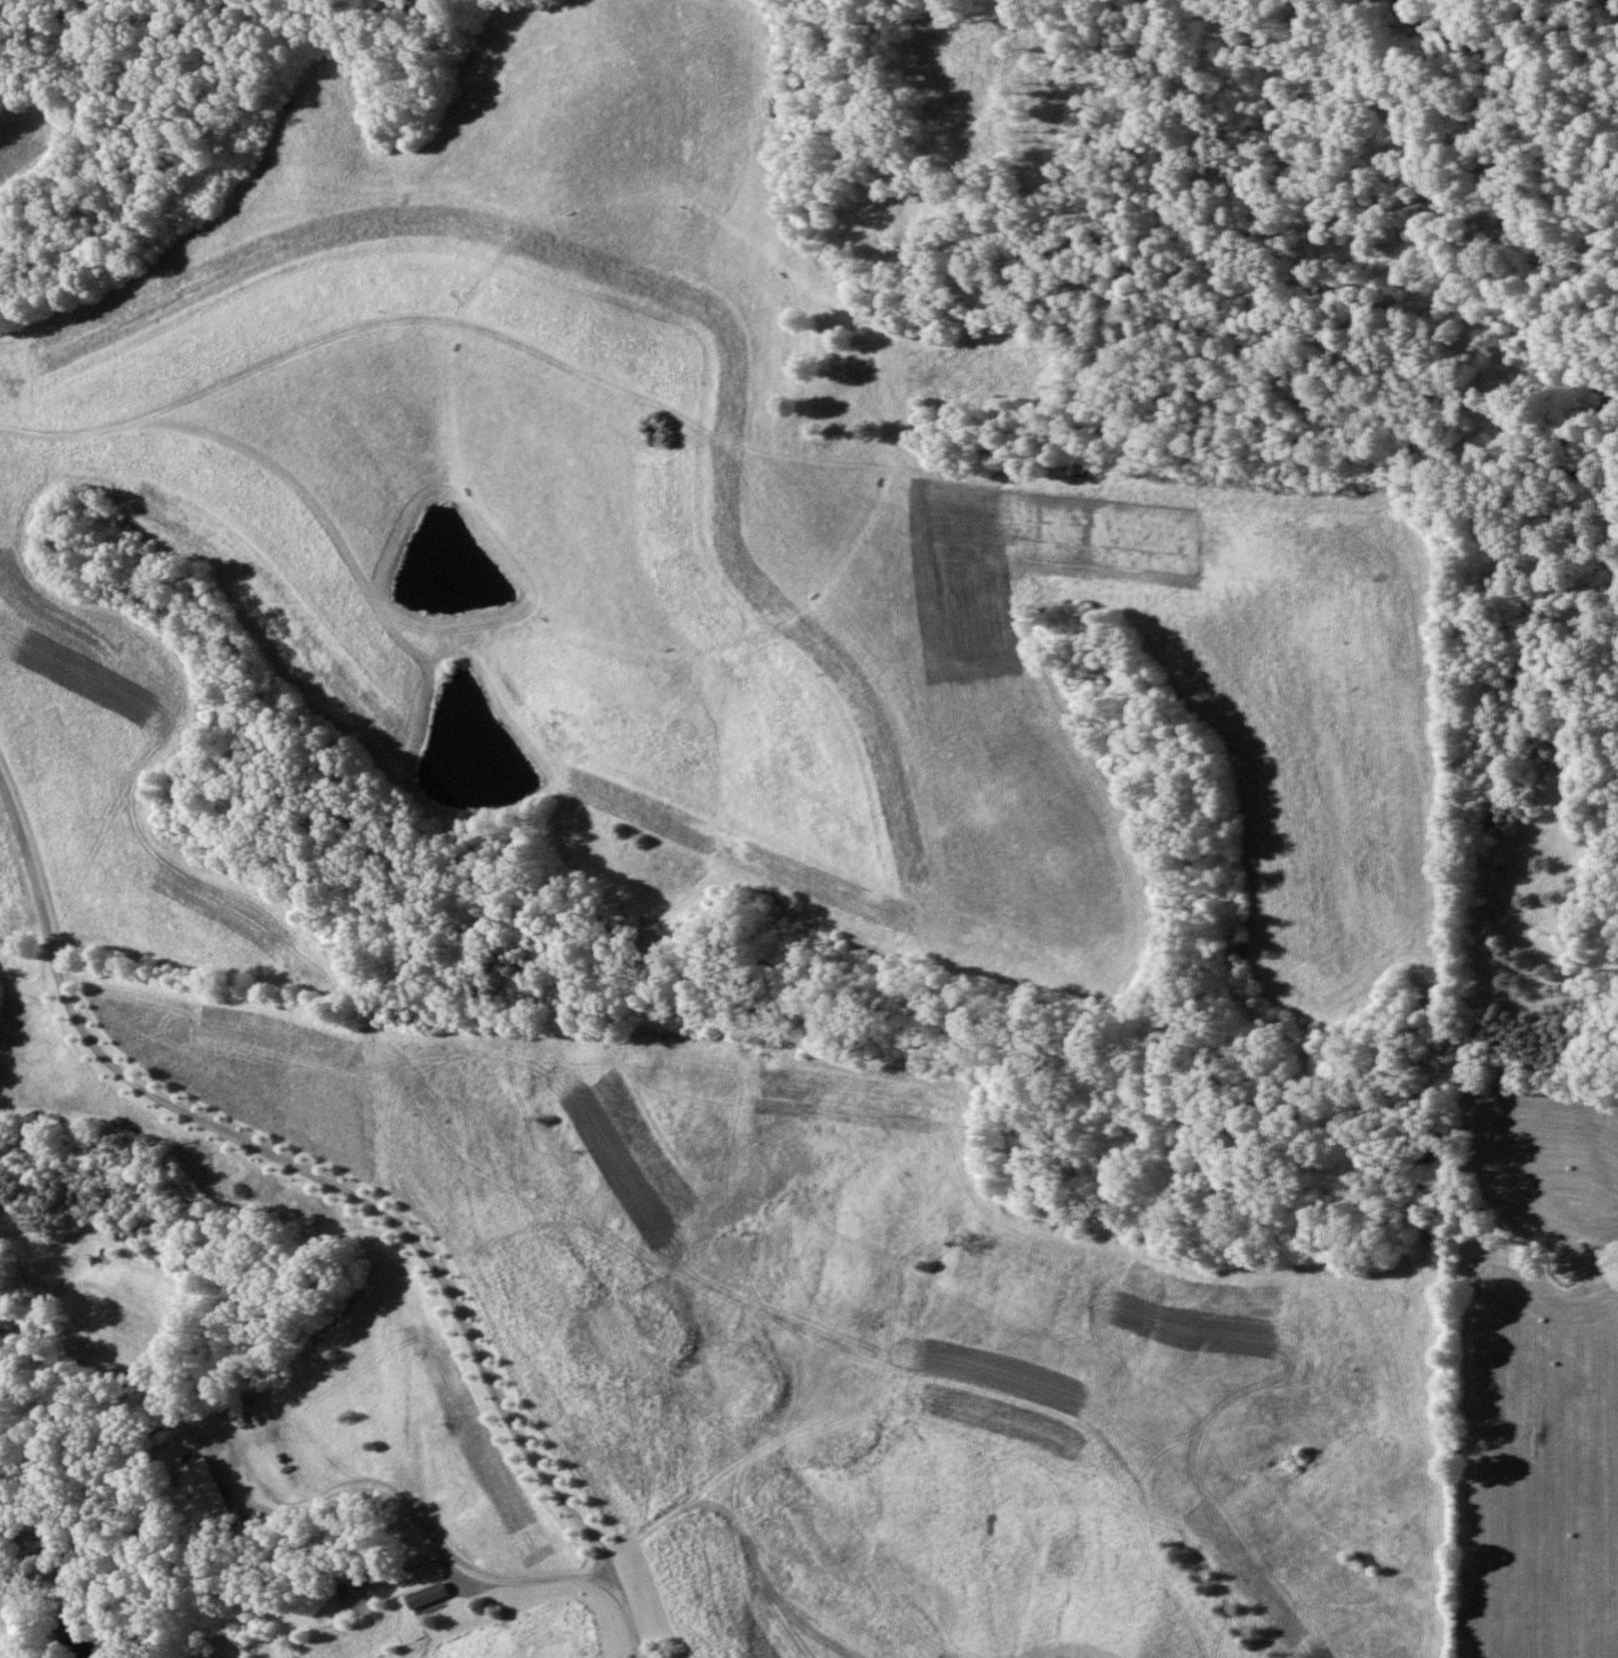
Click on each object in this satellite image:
road: (723, 1049)
road: (341, 1188)
building: (35, 1237)
building: (218, 1489)
road: (417, 1509)
road: (787, 1570)
building: (439, 1596)
road: (439, 1604)

